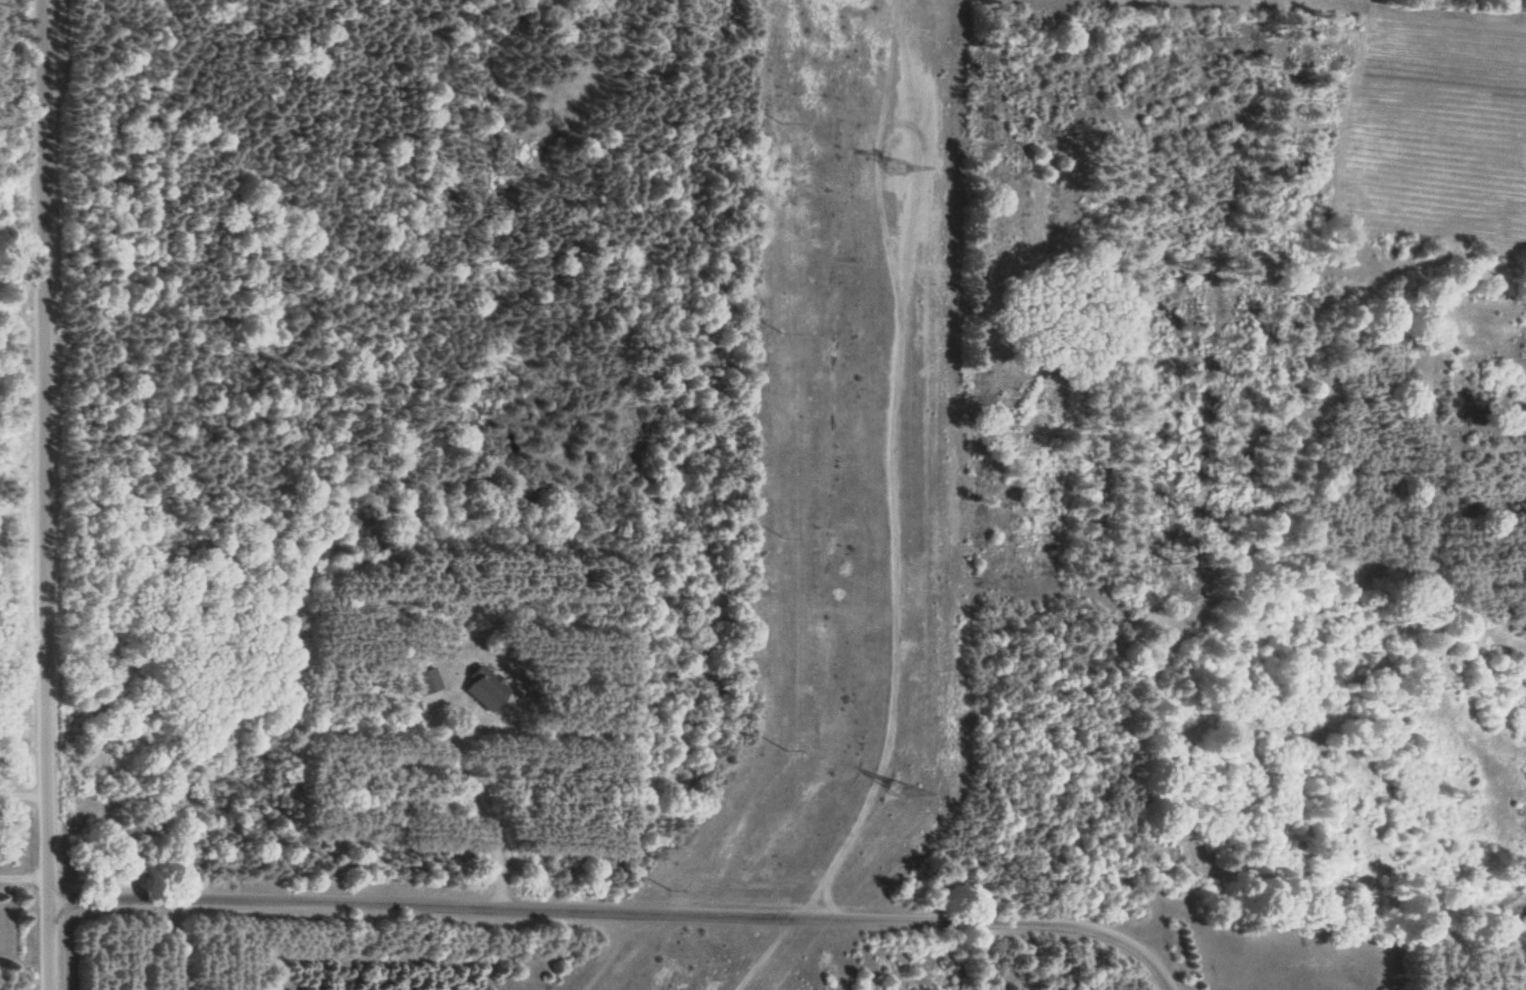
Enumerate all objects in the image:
power tower: (896, 164)
road: (38, 495)
building: (484, 690)
power tower: (890, 791)
road: (20, 792)
road: (620, 912)

